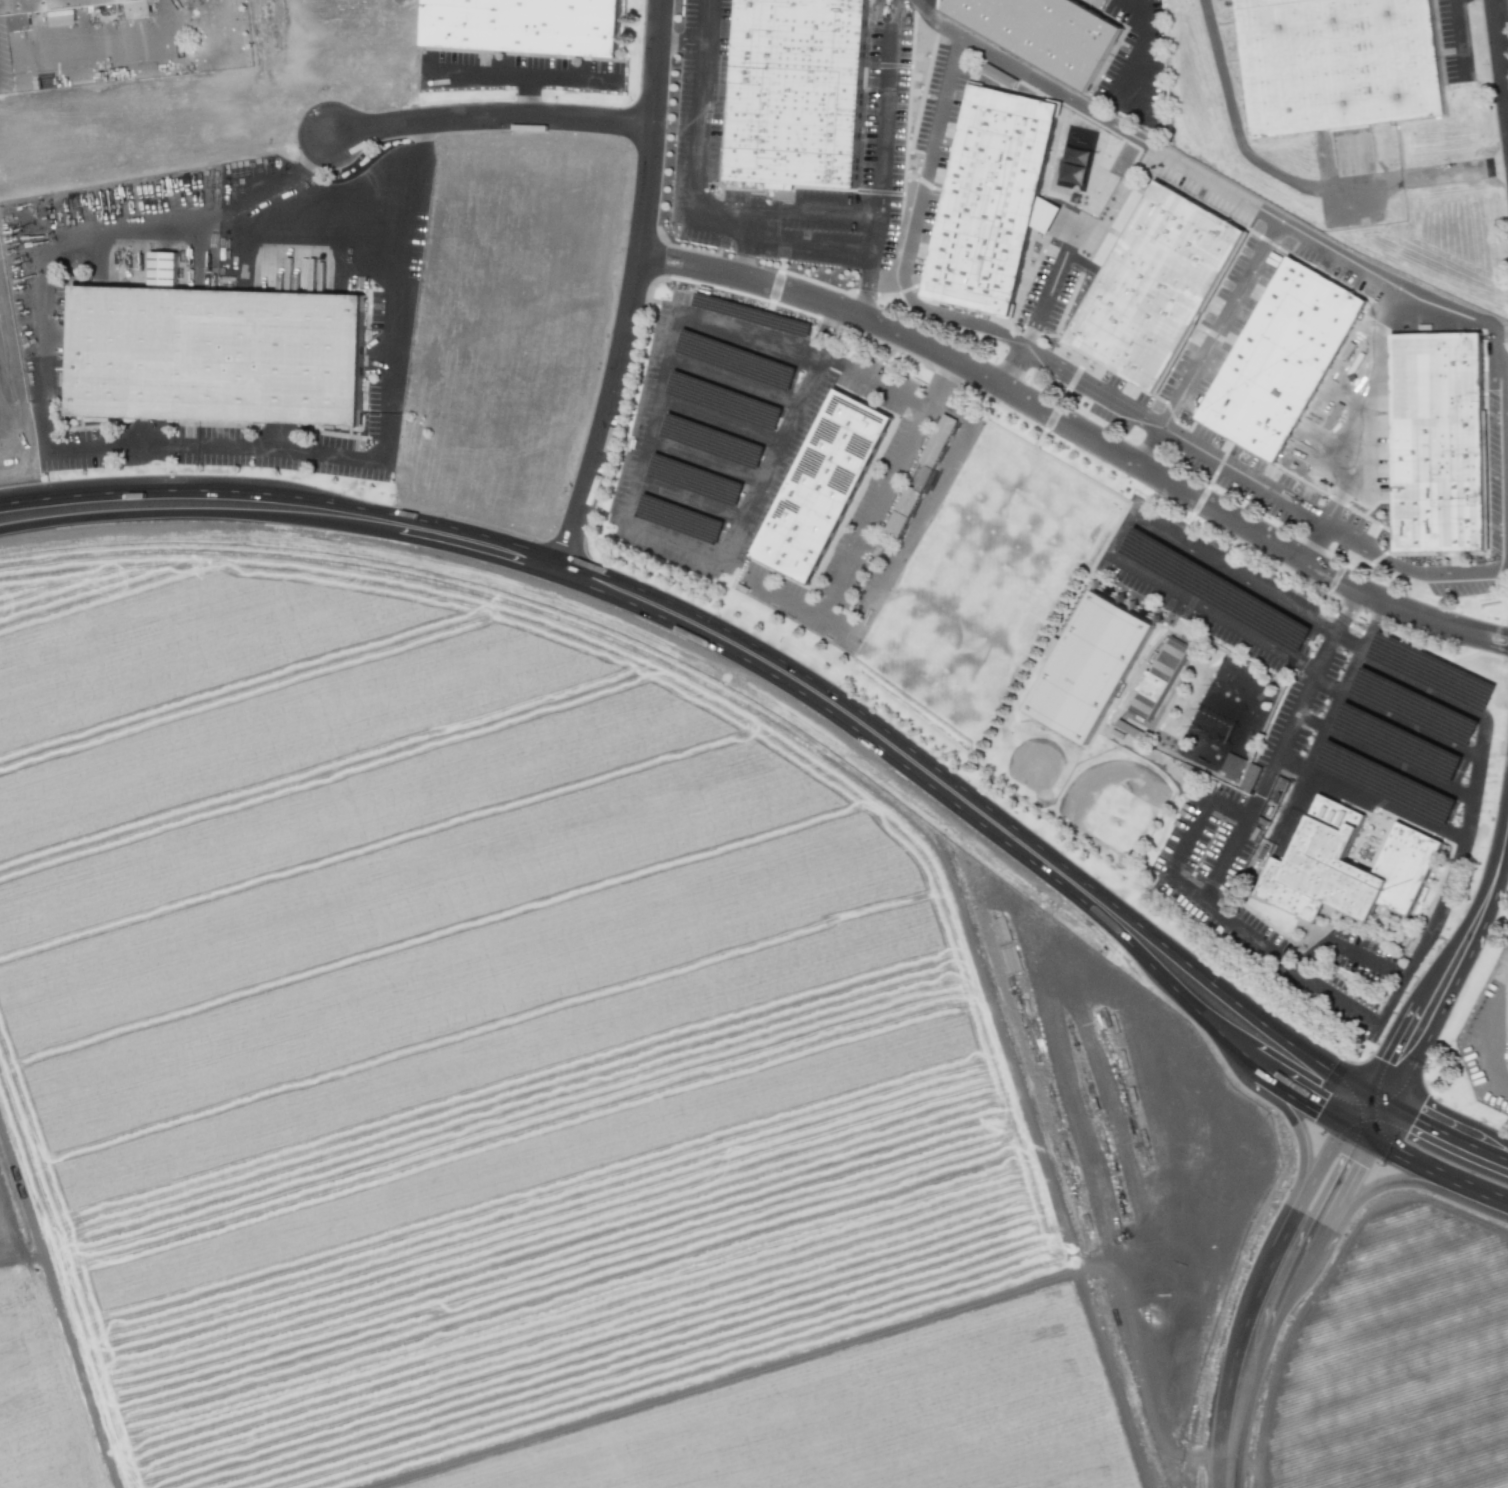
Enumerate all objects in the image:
building: (31, 3)
building: (519, 22)
building: (1043, 34)
road: (681, 45)
road: (1502, 45)
building: (1335, 58)
road: (115, 65)
road: (521, 75)
building: (790, 89)
road: (527, 97)
road: (490, 120)
road: (879, 125)
road: (934, 155)
road: (1105, 158)
road: (1292, 185)
road: (406, 191)
building: (983, 196)
road: (693, 202)
road: (742, 253)
road: (1249, 267)
building: (162, 269)
building: (1150, 282)
road: (636, 283)
road: (866, 284)
building: (211, 352)
building: (1274, 353)
road: (1373, 353)
road: (1068, 373)
building: (754, 412)
road: (1081, 431)
building: (1429, 436)
building: (937, 440)
building: (712, 441)
road: (644, 443)
road: (111, 447)
road: (1152, 447)
road: (1257, 483)
building: (818, 484)
road: (155, 490)
road: (186, 511)
road: (439, 524)
road: (1116, 533)
road: (1505, 535)
road: (466, 547)
road: (561, 567)
road: (1344, 611)
road: (1374, 627)
road: (1347, 644)
building: (1088, 666)
road: (803, 672)
building: (1158, 678)
road: (1326, 688)
road: (1310, 722)
road: (1289, 727)
road: (1410, 728)
road: (1317, 743)
road: (1399, 764)
building: (1231, 765)
road: (1292, 765)
road: (917, 777)
road: (1386, 808)
road: (1471, 813)
road: (1503, 843)
building: (1340, 864)
road: (1494, 867)
road: (1178, 886)
road: (1136, 923)
road: (1344, 948)
road: (1420, 1012)
road: (1312, 1059)
road: (1245, 1060)
road: (1239, 1065)
traffic signals: (1373, 1095)
road: (1305, 1103)
crop: (620, 1106)
road: (1362, 1114)
road: (1425, 1121)
traffic signals: (1351, 1133)
road: (1492, 1153)
road: (1395, 1155)
road: (1302, 1163)
road: (1474, 1191)
road: (1356, 1200)
road: (1330, 1201)
road: (1285, 1231)
road: (1271, 1305)
road: (1236, 1416)

